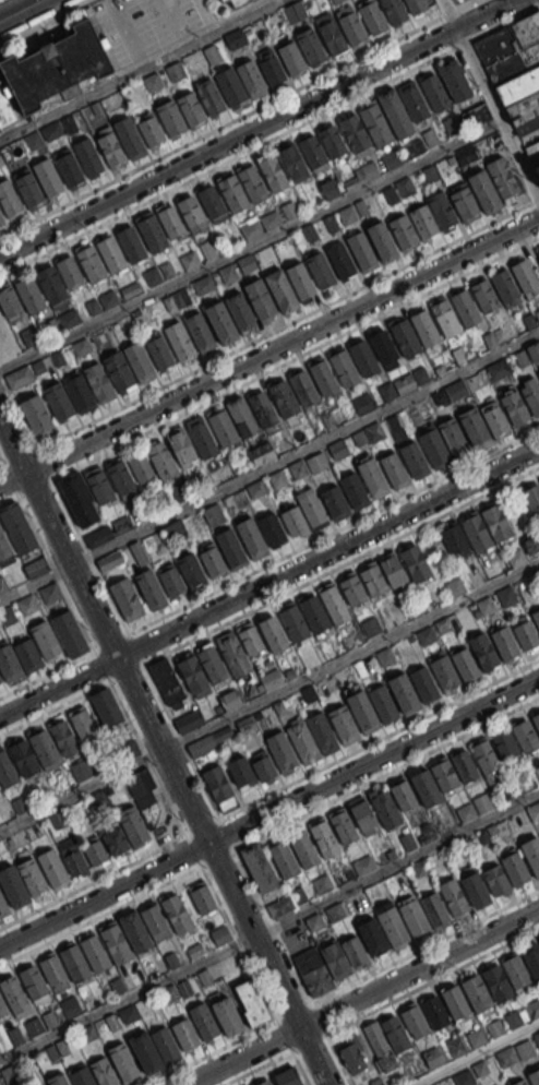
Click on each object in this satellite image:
building: (336, 0)
building: (221, 1)
road: (538, 1)
building: (236, 2)
building: (416, 5)
road: (20, 10)
building: (295, 11)
building: (394, 11)
road: (448, 14)
building: (371, 15)
road: (44, 22)
building: (352, 28)
building: (331, 37)
building: (507, 38)
building: (312, 47)
building: (290, 57)
building: (48, 69)
road: (140, 69)
building: (272, 70)
building: (515, 73)
building: (251, 77)
building: (455, 80)
building: (152, 82)
building: (230, 87)
building: (434, 93)
building: (209, 97)
building: (414, 103)
building: (523, 108)
building: (190, 109)
building: (394, 111)
road: (496, 115)
building: (169, 116)
road: (237, 118)
building: (375, 124)
road: (256, 128)
building: (151, 131)
building: (527, 131)
building: (354, 132)
building: (0, 133)
building: (128, 135)
road: (268, 138)
building: (332, 141)
building: (34, 143)
building: (108, 145)
building: (312, 150)
building: (532, 154)
building: (87, 156)
building: (291, 160)
building: (68, 169)
building: (537, 170)
building: (274, 171)
building: (46, 176)
building: (502, 178)
building: (253, 184)
building: (28, 189)
building: (483, 190)
building: (232, 192)
building: (9, 198)
building: (465, 202)
building: (214, 204)
building: (442, 210)
building: (192, 213)
building: (0, 216)
building: (348, 216)
building: (171, 220)
building: (423, 222)
building: (251, 228)
building: (402, 230)
building: (152, 233)
building: (382, 240)
building: (131, 242)
road: (250, 246)
building: (361, 250)
building: (110, 253)
building: (538, 253)
building: (189, 260)
building: (340, 260)
building: (91, 264)
building: (247, 264)
building: (320, 269)
building: (69, 271)
building: (156, 275)
building: (524, 275)
building: (300, 279)
building: (52, 285)
building: (203, 285)
building: (504, 285)
building: (131, 290)
building: (280, 290)
building: (31, 294)
building: (483, 295)
building: (260, 299)
building: (176, 300)
building: (10, 301)
building: (465, 307)
building: (239, 310)
building: (537, 312)
building: (444, 315)
building: (69, 319)
building: (220, 322)
road: (287, 322)
building: (424, 326)
building: (199, 331)
building: (405, 337)
building: (178, 339)
road: (282, 345)
building: (383, 345)
building: (81, 347)
building: (158, 351)
road: (295, 356)
building: (362, 357)
building: (139, 362)
building: (345, 368)
building: (119, 372)
building: (538, 373)
building: (19, 377)
building: (324, 378)
building: (411, 380)
building: (98, 382)
building: (303, 386)
building: (456, 390)
building: (77, 391)
building: (531, 394)
building: (284, 397)
building: (57, 400)
building: (362, 404)
building: (262, 408)
building: (515, 409)
building: (241, 416)
building: (37, 418)
building: (493, 418)
building: (472, 424)
building: (221, 425)
building: (201, 436)
building: (452, 436)
building: (181, 445)
building: (432, 445)
road: (303, 448)
building: (262, 453)
road: (20, 456)
building: (161, 458)
building: (414, 460)
road: (1, 462)
road: (1, 465)
building: (141, 466)
building: (394, 469)
building: (120, 475)
building: (372, 477)
road: (10, 479)
road: (12, 480)
building: (99, 485)
road: (25, 490)
building: (352, 490)
building: (531, 498)
building: (77, 499)
building: (334, 501)
building: (311, 509)
building: (213, 514)
building: (294, 521)
building: (496, 522)
building: (122, 524)
building: (17, 528)
building: (271, 528)
road: (333, 529)
building: (476, 530)
building: (98, 536)
building: (251, 537)
building: (455, 541)
building: (530, 542)
building: (229, 546)
building: (4, 547)
building: (139, 552)
building: (109, 560)
building: (212, 560)
building: (415, 562)
building: (36, 568)
building: (190, 570)
building: (392, 570)
road: (55, 571)
building: (169, 577)
building: (373, 579)
road: (268, 582)
road: (35, 583)
building: (2, 584)
building: (455, 587)
building: (151, 588)
building: (352, 589)
building: (49, 593)
building: (506, 595)
building: (125, 598)
road: (268, 599)
building: (27, 604)
building: (335, 605)
building: (484, 606)
building: (314, 612)
building: (8, 616)
building: (536, 617)
building: (294, 621)
building: (370, 627)
building: (69, 633)
building: (273, 634)
building: (526, 634)
building: (426, 635)
building: (250, 636)
building: (45, 640)
building: (504, 642)
building: (483, 652)
building: (232, 653)
building: (28, 655)
road: (349, 655)
building: (8, 664)
road: (63, 664)
building: (212, 664)
road: (100, 665)
building: (465, 665)
building: (192, 673)
building: (444, 675)
building: (271, 679)
building: (0, 680)
building: (166, 680)
building: (423, 683)
building: (404, 693)
building: (230, 699)
building: (383, 704)
building: (106, 710)
building: (363, 711)
building: (188, 720)
building: (536, 720)
building: (82, 723)
building: (344, 723)
road: (176, 729)
building: (321, 732)
building: (525, 736)
building: (63, 738)
road: (379, 738)
building: (211, 741)
building: (303, 743)
building: (504, 744)
building: (44, 748)
road: (163, 753)
building: (282, 753)
building: (482, 753)
building: (23, 756)
road: (146, 758)
building: (262, 765)
building: (465, 765)
building: (239, 767)
building: (7, 770)
building: (82, 770)
building: (444, 774)
building: (217, 782)
building: (424, 787)
road: (80, 790)
building: (403, 794)
building: (144, 795)
building: (385, 809)
road: (268, 812)
building: (362, 814)
building: (468, 814)
building: (133, 825)
road: (202, 826)
building: (342, 826)
road: (269, 831)
building: (324, 839)
building: (116, 840)
building: (408, 843)
building: (302, 849)
road: (193, 850)
building: (96, 851)
building: (531, 854)
building: (283, 859)
building: (75, 861)
building: (363, 865)
road: (396, 865)
building: (52, 867)
building: (257, 868)
building: (515, 868)
building: (32, 875)
building: (494, 880)
road: (93, 881)
building: (322, 883)
building: (13, 884)
building: (475, 890)
building: (202, 896)
building: (453, 896)
building: (3, 904)
building: (279, 906)
building: (433, 909)
building: (177, 914)
building: (414, 917)
building: (155, 922)
building: (314, 922)
building: (393, 927)
building: (134, 930)
building: (371, 934)
building: (538, 938)
building: (115, 942)
road: (239, 942)
building: (354, 951)
building: (94, 953)
building: (531, 958)
building: (334, 959)
building: (73, 963)
road: (418, 968)
building: (51, 969)
building: (311, 971)
building: (514, 971)
road: (432, 980)
building: (32, 981)
building: (496, 982)
road: (342, 986)
building: (476, 992)
building: (15, 997)
road: (127, 999)
building: (455, 1002)
building: (252, 1003)
building: (2, 1006)
building: (70, 1006)
building: (532, 1009)
building: (434, 1012)
building: (226, 1015)
building: (203, 1022)
building: (414, 1022)
building: (394, 1033)
building: (183, 1034)
road: (284, 1034)
building: (476, 1038)
building: (537, 1038)
building: (375, 1039)
building: (164, 1042)
road: (309, 1042)
building: (145, 1052)
building: (352, 1052)
road: (475, 1053)
road: (242, 1057)
building: (506, 1057)
building: (123, 1062)
road: (255, 1068)
road: (300, 1068)
building: (101, 1072)
building: (81, 1076)
building: (534, 1076)
building: (288, 1077)
building: (464, 1077)
building: (57, 1080)
building: (263, 1082)
building: (375, 1082)
building: (518, 1082)
building: (502, 1084)

